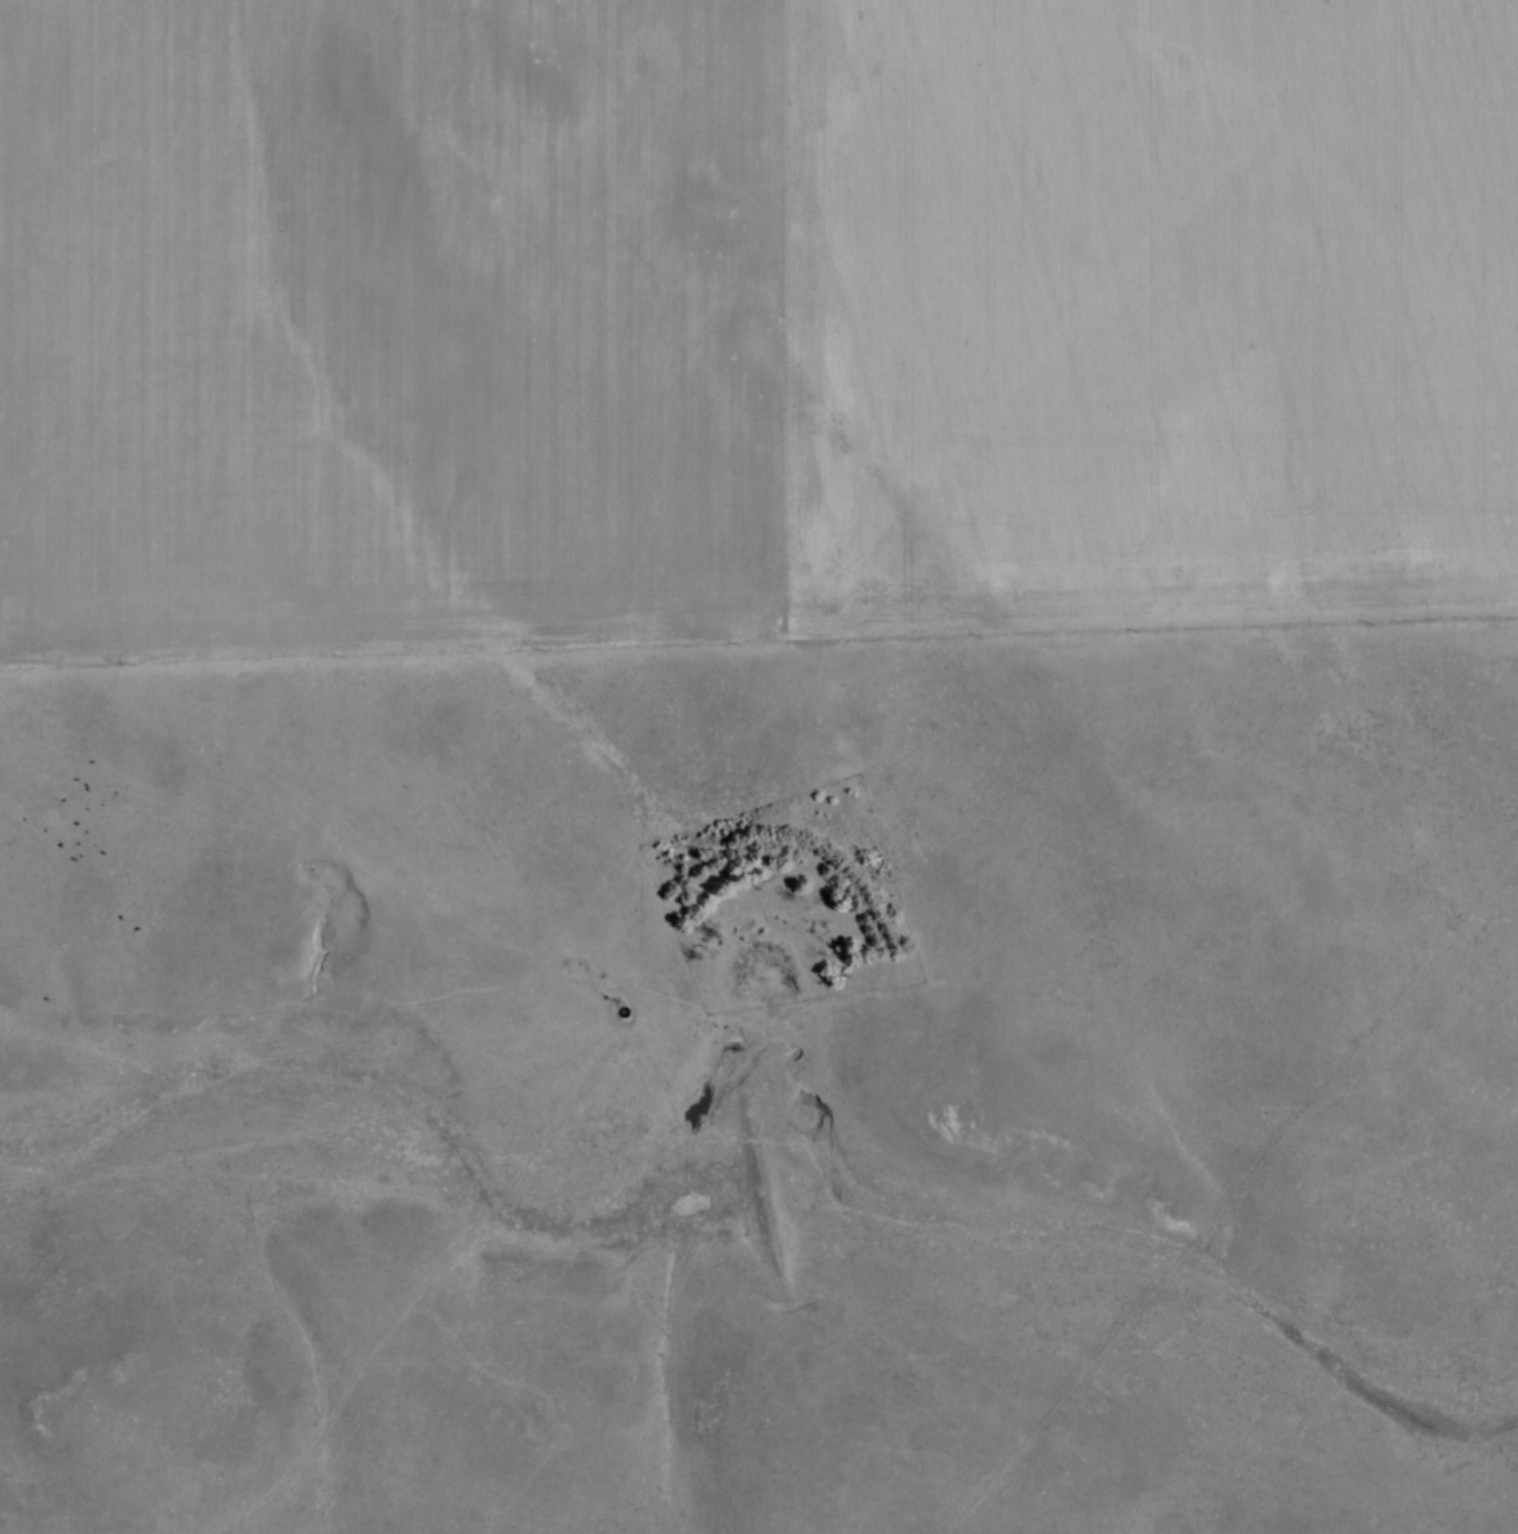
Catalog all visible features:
crop: (751, 311)

